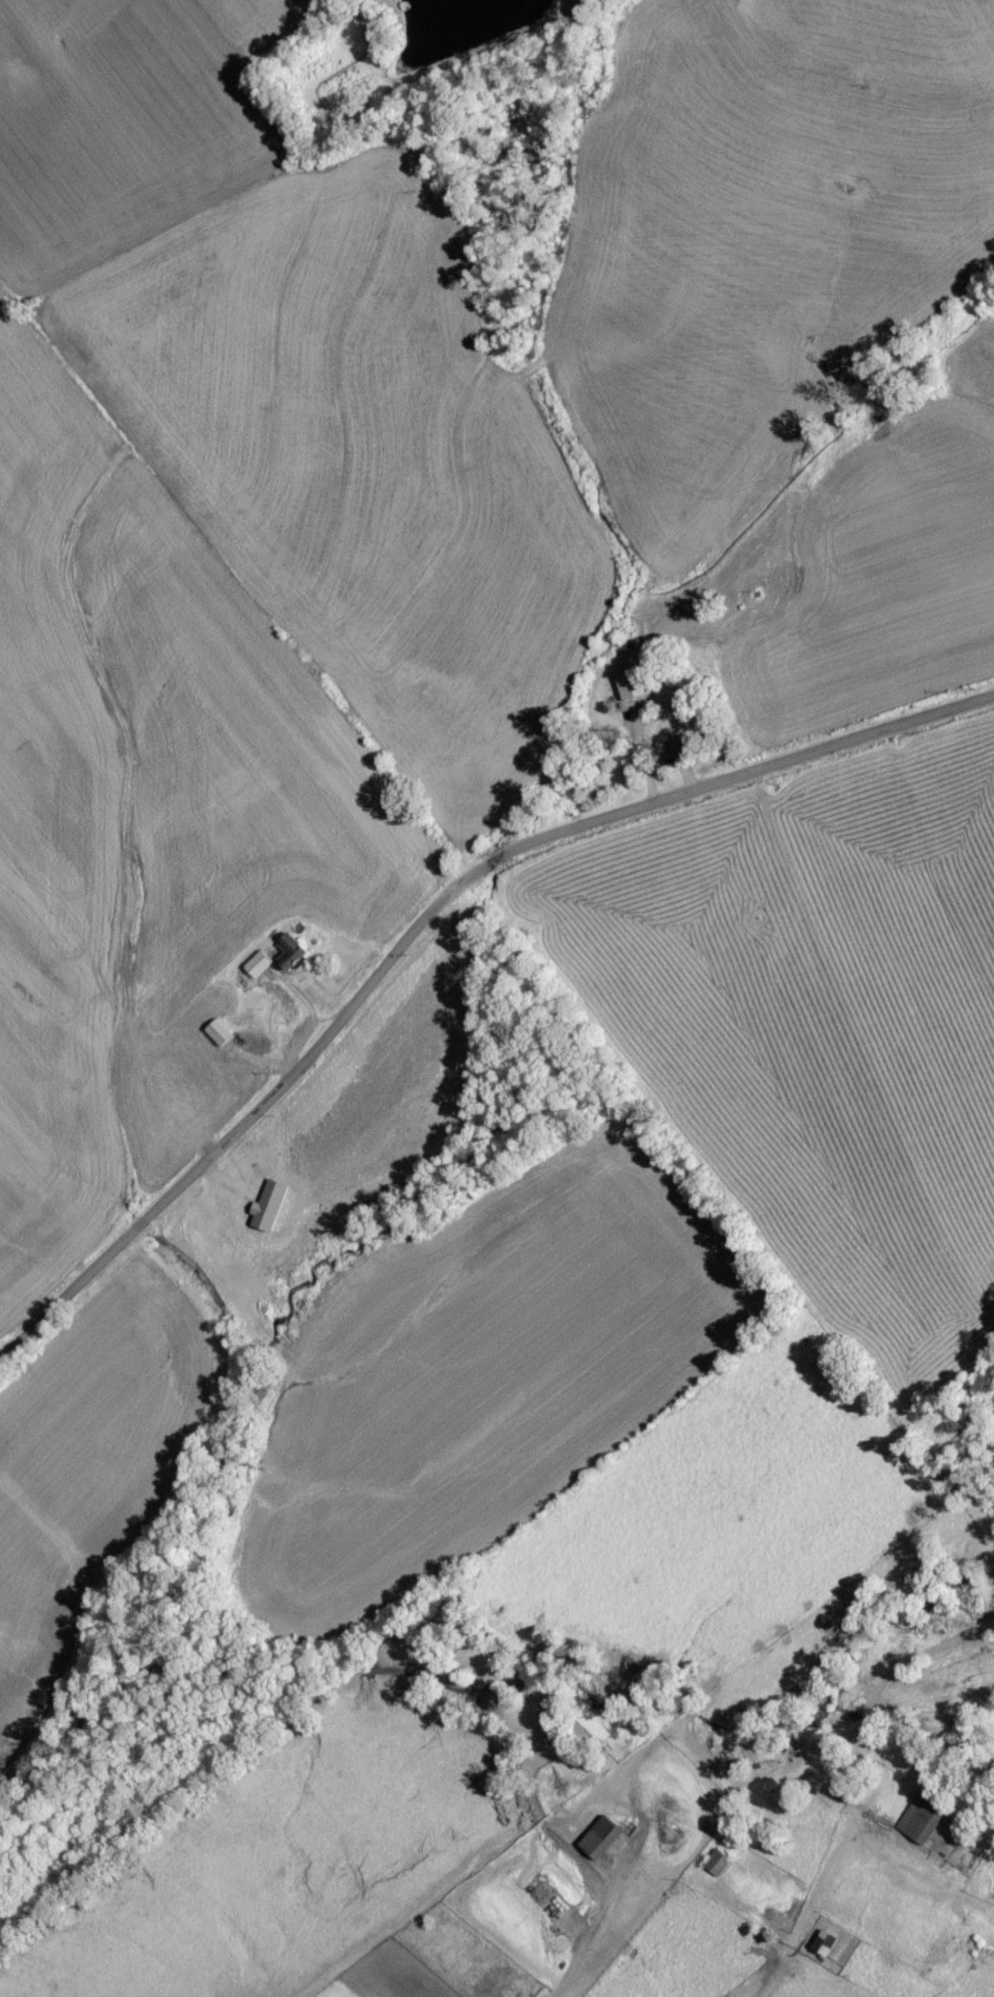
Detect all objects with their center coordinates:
building: (631, 687)
road: (426, 923)
building: (292, 956)
building: (259, 969)
building: (220, 1038)
building: (603, 1843)
building: (718, 1868)
road: (797, 1902)
building: (827, 1949)

